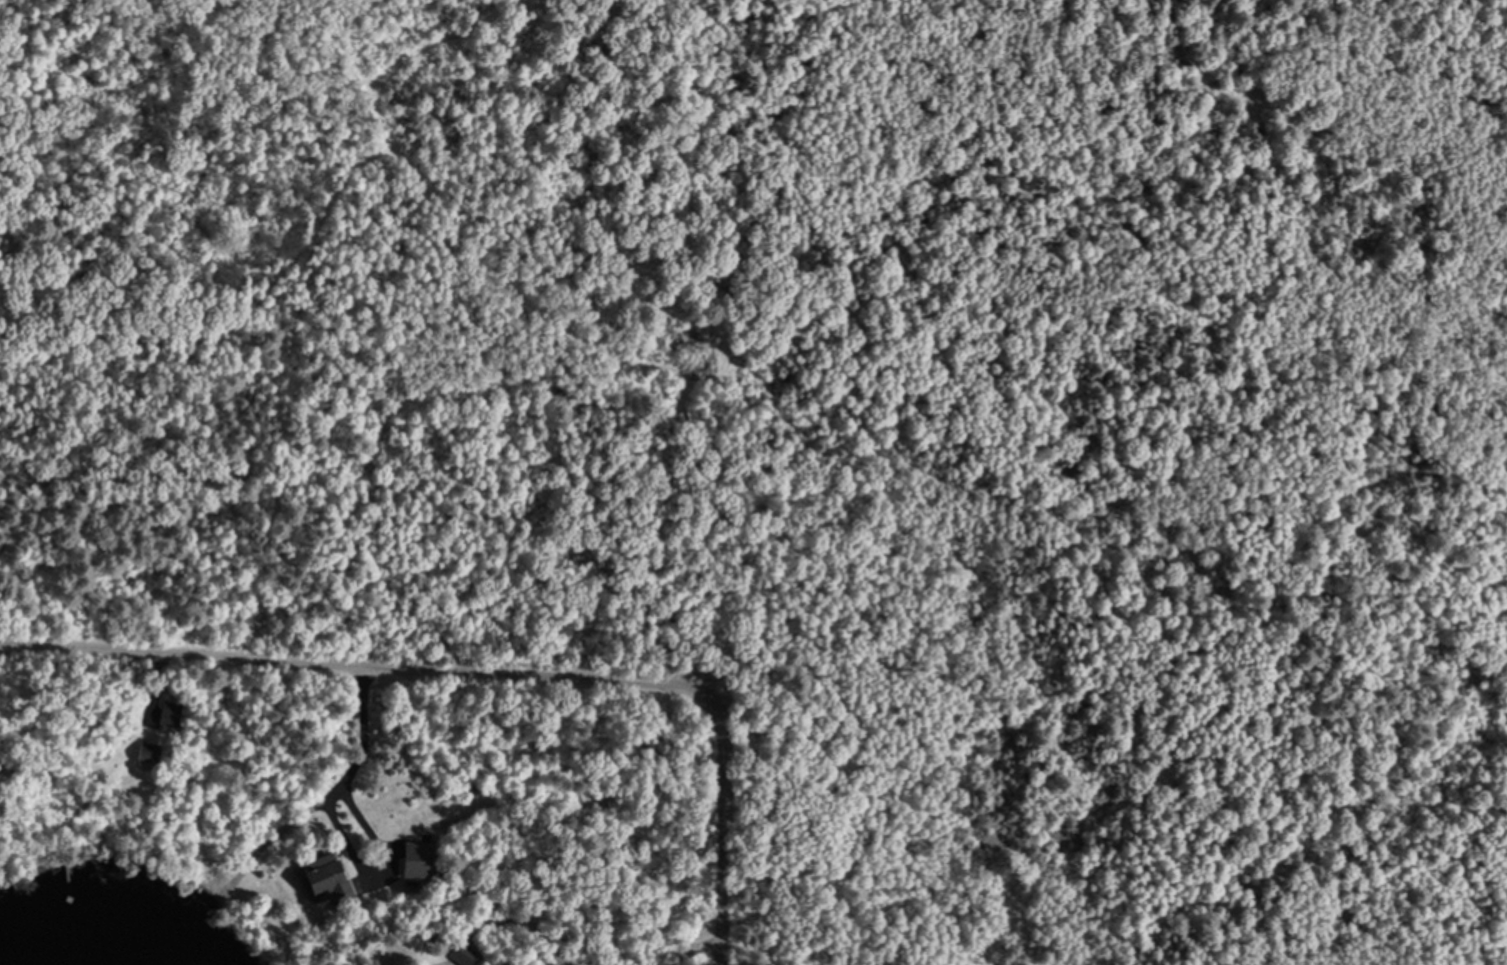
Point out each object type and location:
road: (806, 395)
road: (492, 672)
building: (169, 716)
road: (371, 740)
building: (145, 752)
building: (415, 860)
building: (324, 879)
road: (686, 948)

